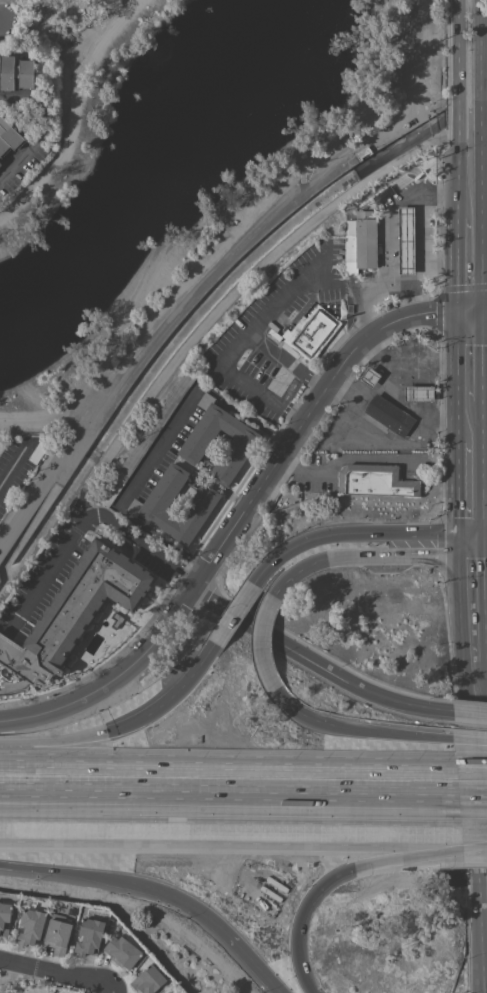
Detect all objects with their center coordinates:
road: (3, 30)
road: (478, 41)
road: (456, 49)
building: (16, 74)
road: (479, 94)
road: (457, 110)
road: (483, 120)
road: (41, 127)
building: (8, 138)
building: (363, 154)
building: (0, 165)
road: (456, 172)
road: (479, 206)
road: (392, 211)
building: (365, 240)
building: (406, 241)
road: (455, 266)
road: (381, 288)
road: (484, 307)
traffic signals: (481, 308)
traffic signals: (454, 311)
building: (311, 332)
road: (158, 339)
road: (230, 352)
road: (481, 354)
road: (286, 361)
building: (369, 377)
road: (454, 378)
building: (418, 394)
building: (389, 415)
road: (254, 421)
road: (162, 433)
building: (146, 439)
building: (240, 446)
road: (12, 466)
road: (333, 467)
road: (482, 467)
building: (374, 481)
road: (454, 490)
building: (147, 507)
road: (243, 514)
road: (86, 526)
road: (356, 534)
traffic signals: (483, 534)
road: (485, 534)
traffic signals: (455, 535)
road: (159, 539)
road: (455, 544)
road: (484, 552)
traffic signals: (482, 553)
road: (369, 554)
traffic signals: (455, 554)
road: (481, 597)
building: (75, 611)
road: (234, 613)
building: (116, 620)
road: (262, 644)
road: (4, 646)
road: (319, 662)
road: (193, 670)
road: (287, 703)
road: (484, 704)
road: (157, 713)
road: (471, 715)
road: (375, 733)
road: (470, 743)
road: (76, 753)
road: (467, 773)
road: (230, 781)
road: (473, 784)
railway: (243, 802)
road: (231, 826)
road: (474, 829)
road: (473, 843)
traffic signals: (347, 864)
road: (99, 869)
road: (330, 873)
building: (4, 919)
building: (30, 927)
road: (226, 932)
building: (57, 936)
building: (89, 936)
building: (122, 952)
road: (56, 973)
road: (266, 979)
building: (148, 980)

